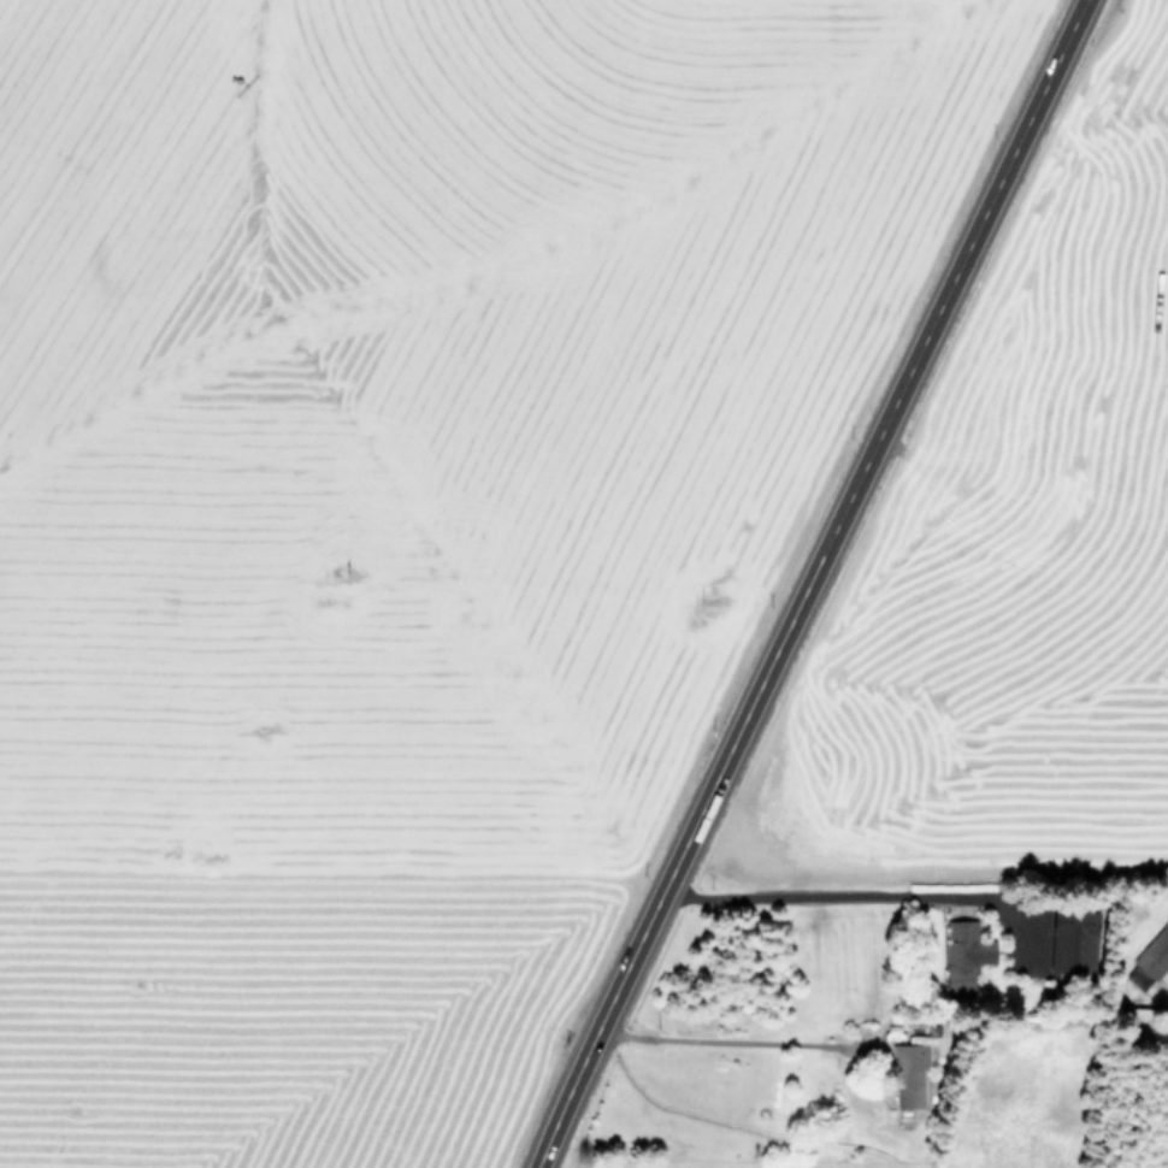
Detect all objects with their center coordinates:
crop: (371, 506)
road: (807, 583)
crop: (989, 792)
road: (855, 895)
building: (1073, 939)
building: (962, 955)
building: (1150, 960)
road: (732, 1040)
building: (909, 1073)

